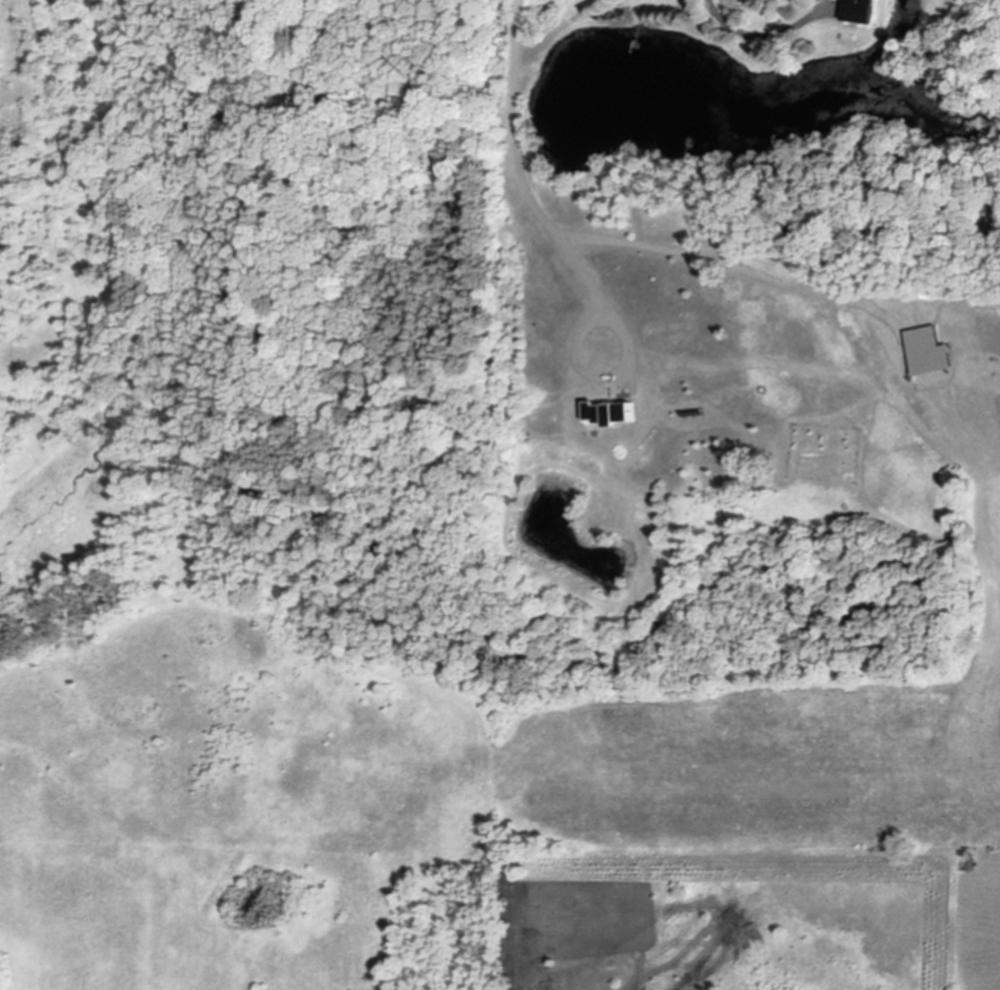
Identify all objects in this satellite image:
building: (864, 12)
road: (561, 30)
road: (767, 35)
road: (520, 165)
building: (930, 353)
road: (602, 377)
building: (614, 415)

